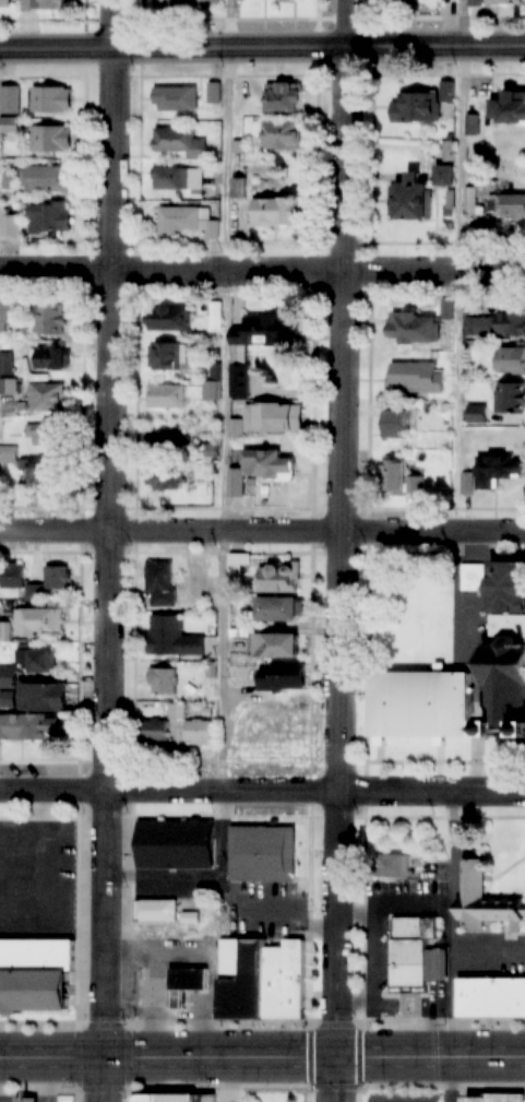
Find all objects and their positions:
building: (478, 0)
building: (289, 1)
building: (206, 2)
building: (4, 3)
building: (166, 3)
building: (504, 3)
building: (49, 4)
road: (349, 24)
road: (262, 48)
road: (0, 86)
building: (282, 97)
building: (175, 98)
building: (52, 99)
building: (420, 105)
building: (509, 108)
building: (10, 126)
building: (282, 135)
building: (51, 139)
building: (180, 142)
building: (450, 154)
building: (445, 176)
building: (46, 179)
building: (178, 179)
building: (241, 186)
building: (451, 199)
building: (409, 200)
building: (472, 201)
building: (506, 205)
building: (281, 211)
building: (449, 213)
building: (50, 216)
building: (188, 220)
building: (13, 223)
road: (462, 265)
road: (262, 273)
building: (8, 309)
building: (449, 310)
building: (216, 315)
building: (51, 318)
building: (168, 318)
building: (498, 323)
building: (3, 327)
building: (413, 328)
building: (261, 343)
building: (167, 356)
building: (53, 357)
building: (509, 359)
building: (8, 363)
building: (216, 370)
building: (417, 378)
building: (11, 386)
building: (213, 390)
building: (166, 395)
road: (227, 395)
building: (49, 396)
building: (511, 398)
building: (275, 415)
road: (343, 419)
building: (396, 424)
building: (239, 426)
building: (44, 430)
building: (170, 437)
building: (210, 450)
building: (9, 452)
building: (270, 462)
building: (43, 469)
building: (496, 470)
building: (165, 477)
building: (401, 478)
building: (237, 479)
building: (251, 479)
building: (467, 485)
road: (262, 532)
road: (111, 550)
building: (241, 562)
building: (14, 574)
building: (58, 576)
building: (278, 577)
building: (474, 578)
building: (162, 582)
building: (506, 588)
building: (36, 591)
building: (278, 607)
building: (41, 619)
road: (467, 626)
building: (212, 629)
parking lot: (470, 630)
building: (7, 631)
building: (174, 636)
building: (273, 643)
building: (38, 659)
building: (212, 668)
building: (201, 670)
building: (282, 675)
building: (506, 675)
building: (9, 676)
building: (164, 678)
building: (192, 688)
building: (45, 696)
building: (9, 698)
building: (423, 706)
building: (178, 709)
building: (31, 725)
building: (156, 730)
building: (199, 730)
building: (480, 730)
road: (480, 730)
road: (480, 766)
road: (262, 793)
building: (176, 845)
building: (267, 855)
building: (394, 866)
road: (167, 876)
parking lot: (38, 881)
parking lot: (178, 885)
road: (49, 886)
building: (488, 901)
road: (394, 903)
road: (228, 910)
building: (157, 911)
parking lot: (265, 912)
building: (191, 919)
road: (440, 941)
road: (441, 946)
road: (337, 947)
road: (454, 947)
parking lot: (184, 951)
building: (415, 956)
road: (489, 957)
road: (214, 958)
parking lot: (493, 958)
parking lot: (379, 965)
road: (432, 967)
road: (441, 967)
building: (36, 975)
road: (153, 976)
road: (375, 976)
building: (243, 979)
building: (288, 980)
building: (187, 984)
road: (136, 991)
road: (192, 995)
road: (203, 995)
road: (441, 997)
building: (493, 998)
road: (153, 999)
road: (177, 999)
road: (196, 999)
road: (176, 1012)
road: (432, 1021)
road: (262, 1060)
traffic signals: (336, 1060)
road: (52, 1081)
parking lot: (405, 1095)
building: (174, 1098)
building: (498, 1098)
building: (27, 1100)
road: (2, 1101)

